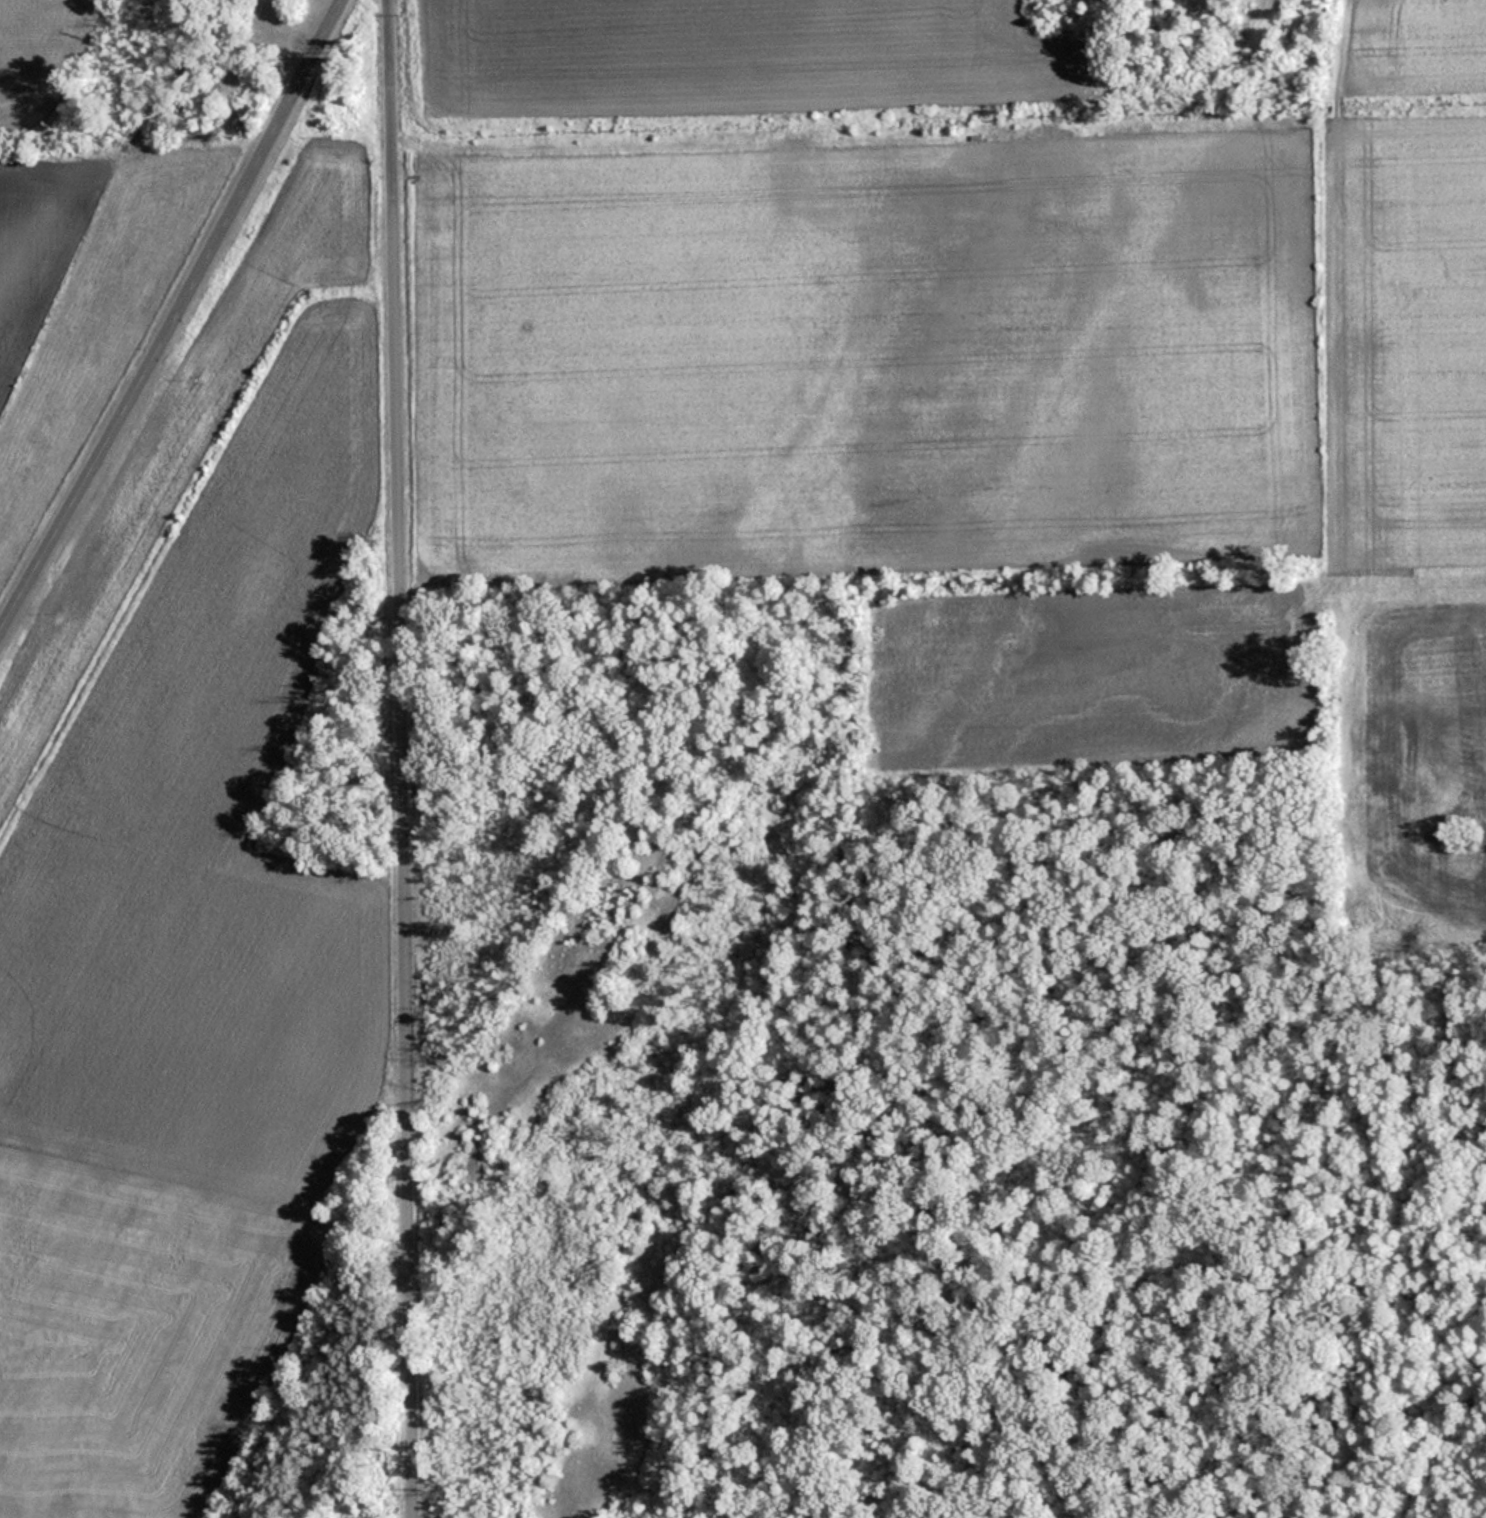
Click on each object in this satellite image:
road: (178, 326)
road: (404, 759)

